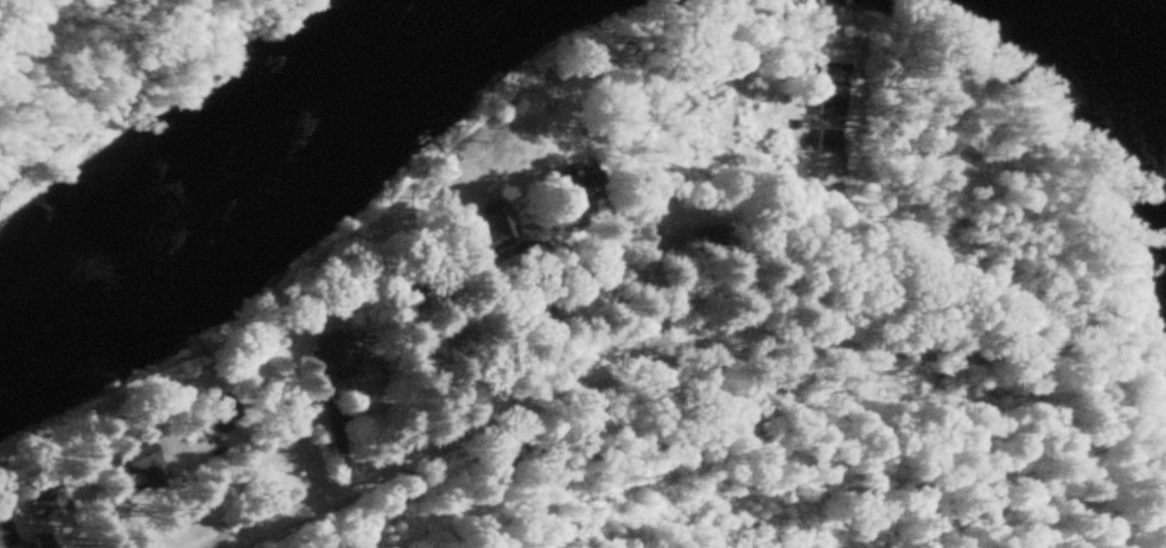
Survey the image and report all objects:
river: (1122, 52)
building: (821, 90)
river: (242, 172)
building: (565, 190)
building: (319, 361)
road: (575, 382)
building: (1, 541)
building: (31, 541)

